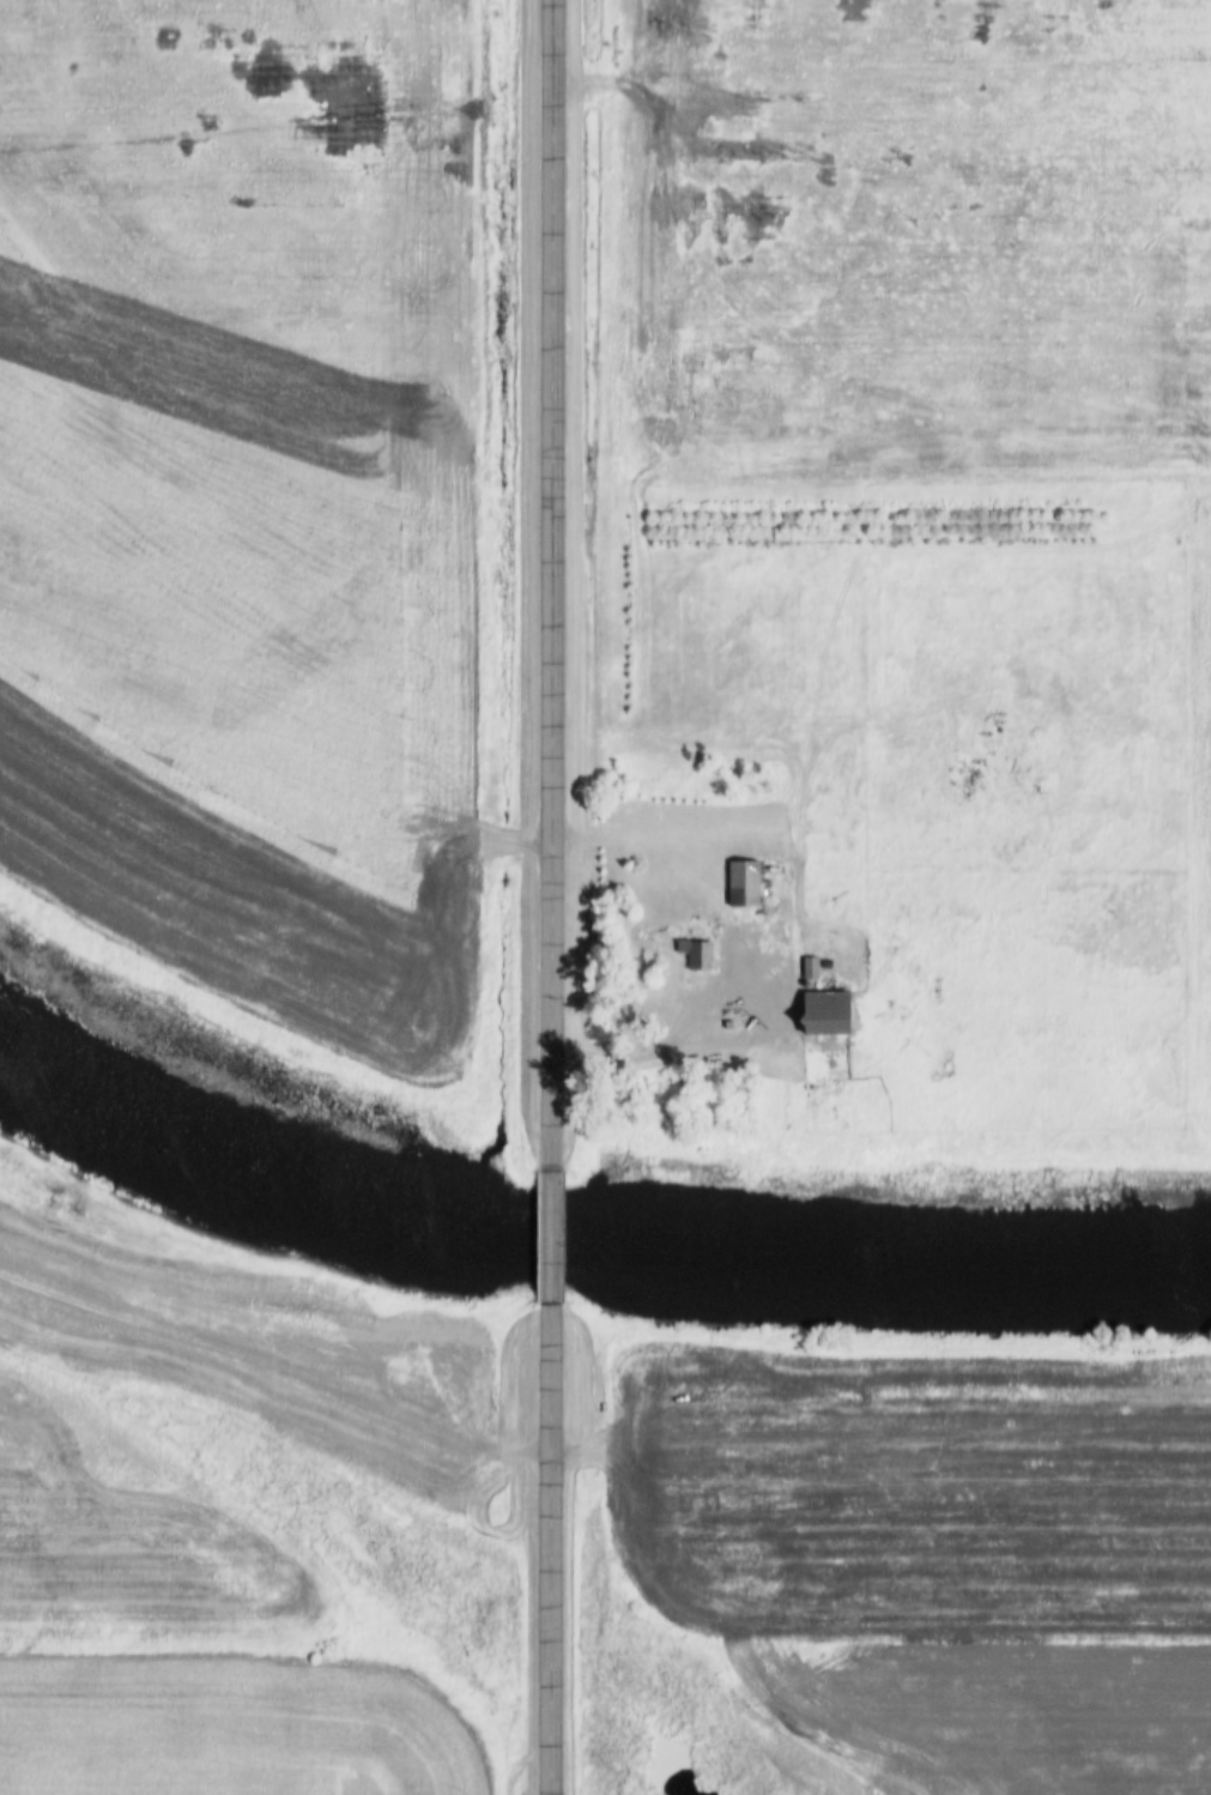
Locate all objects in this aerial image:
road: (556, 587)
building: (740, 883)
building: (677, 942)
building: (822, 1013)
river: (192, 1138)
road: (551, 1246)
river: (797, 1275)
road: (525, 1456)
road: (550, 1555)

